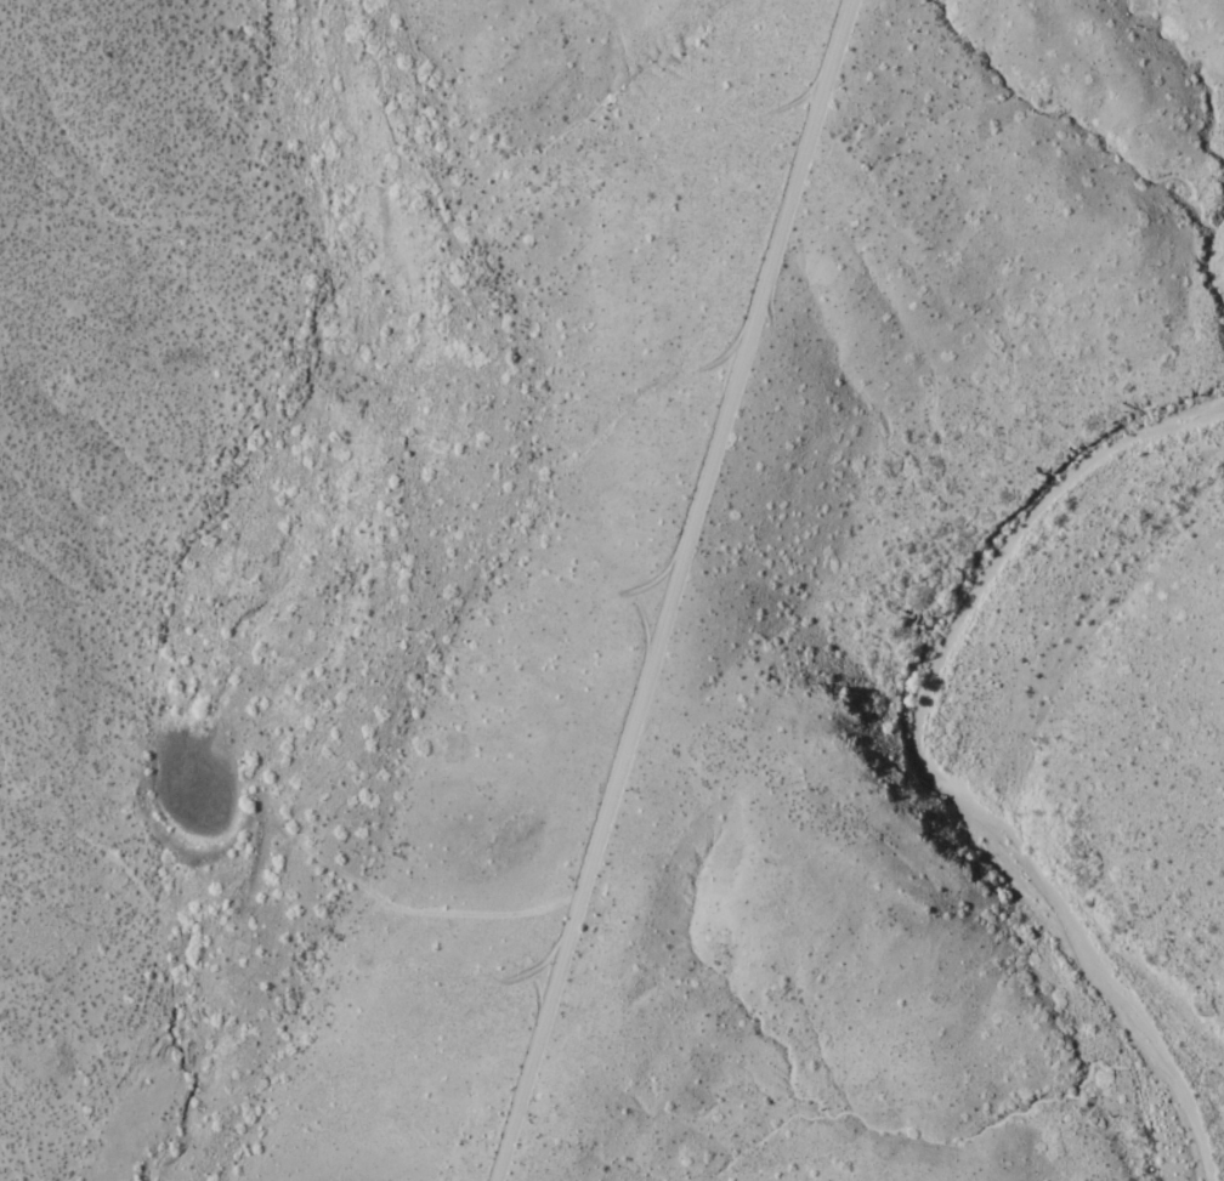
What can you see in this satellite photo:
road: (671, 590)

